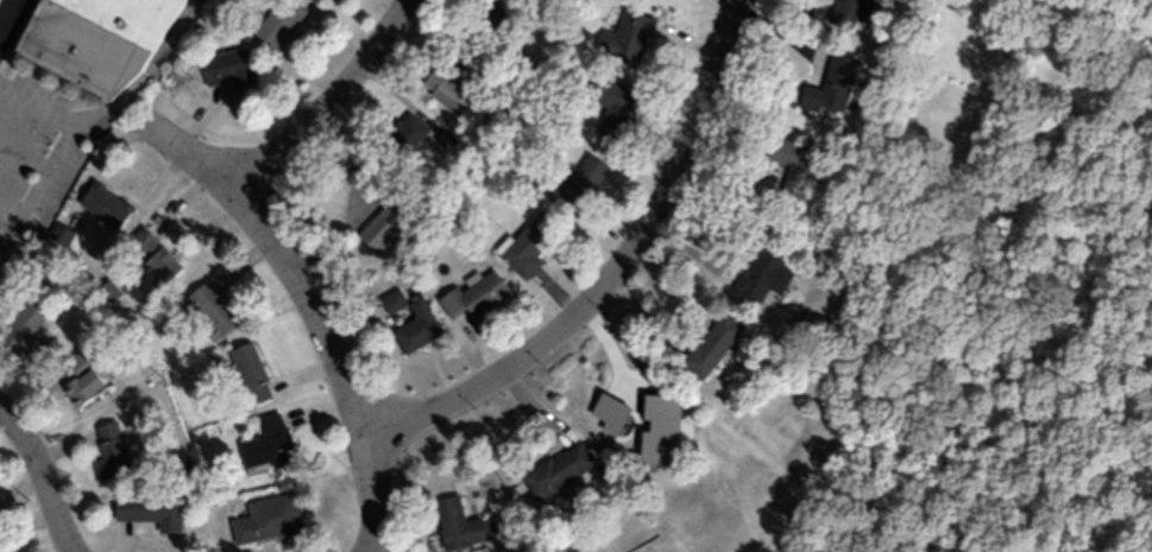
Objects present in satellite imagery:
parking lot: (4, 9)
building: (141, 12)
road: (6, 14)
building: (850, 14)
building: (498, 19)
building: (281, 23)
building: (627, 37)
building: (468, 57)
building: (228, 66)
building: (831, 85)
building: (451, 91)
building: (610, 102)
road: (326, 108)
road: (105, 112)
building: (492, 121)
building: (408, 131)
building: (791, 161)
building: (578, 184)
building: (105, 204)
building: (529, 245)
building: (153, 258)
road: (609, 273)
building: (763, 274)
building: (473, 294)
building: (208, 311)
road: (311, 315)
building: (416, 325)
building: (25, 328)
park: (1050, 338)
building: (712, 344)
building: (251, 373)
building: (81, 380)
building: (649, 424)
building: (267, 444)
building: (111, 450)
building: (558, 469)
road: (40, 478)
building: (151, 509)
building: (267, 518)
building: (458, 524)
park: (394, 548)

